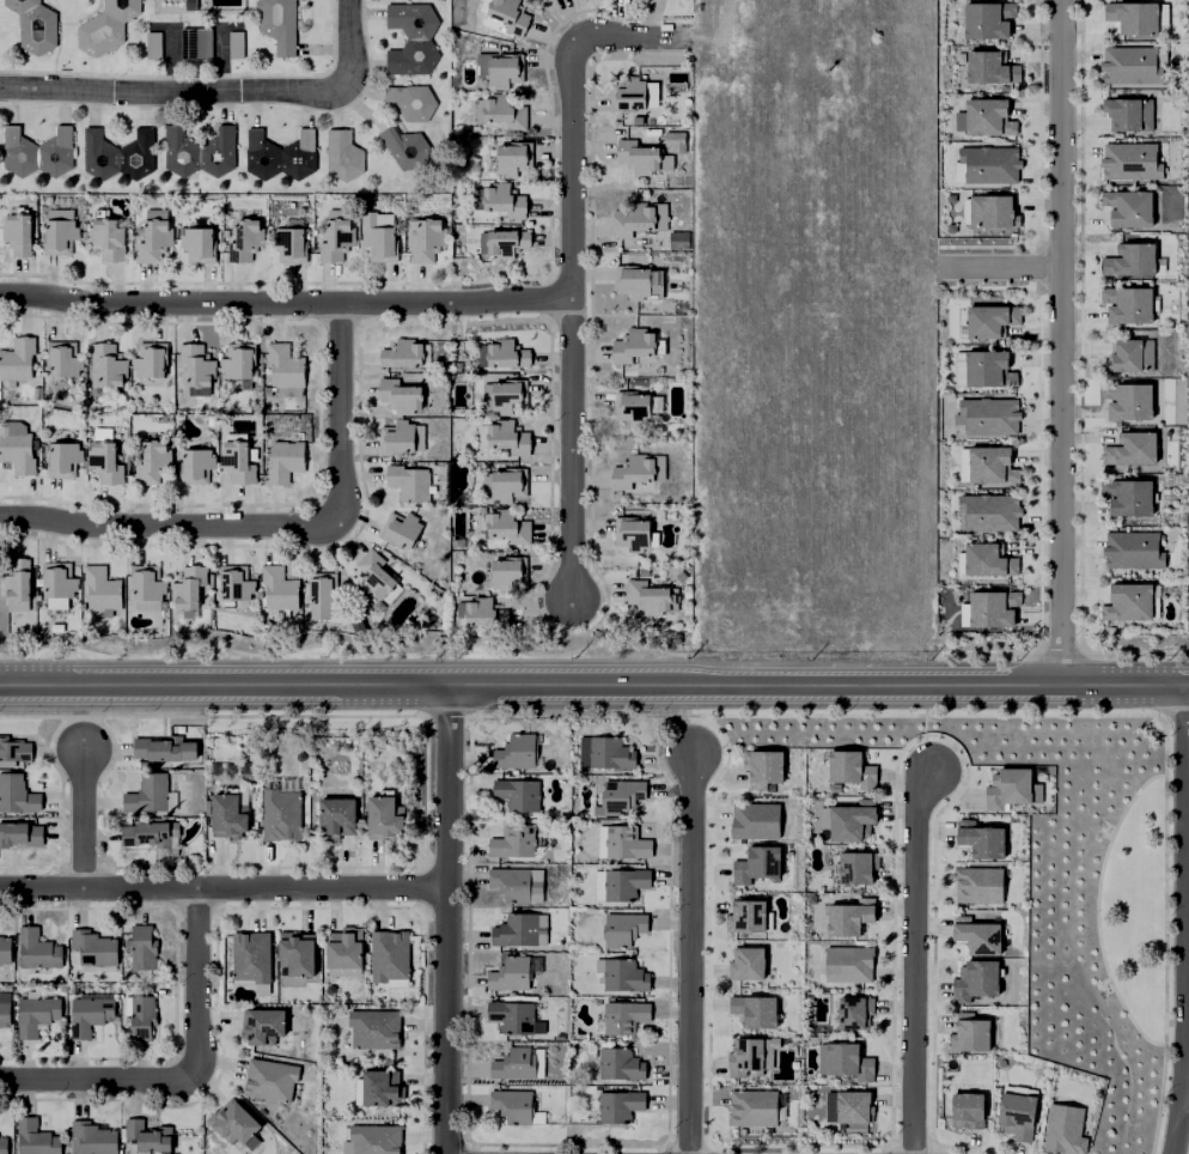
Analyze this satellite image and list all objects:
building: (539, 0)
building: (187, 5)
building: (508, 16)
building: (1133, 17)
building: (988, 19)
building: (275, 24)
building: (30, 25)
building: (102, 26)
building: (409, 37)
building: (191, 43)
building: (148, 44)
building: (232, 44)
building: (1159, 59)
building: (1129, 66)
building: (990, 68)
building: (498, 69)
building: (675, 86)
road: (219, 93)
building: (626, 96)
building: (409, 99)
building: (504, 113)
building: (1129, 115)
building: (988, 119)
building: (635, 120)
building: (648, 120)
building: (401, 147)
building: (196, 151)
building: (35, 152)
building: (115, 153)
building: (278, 153)
building: (341, 154)
building: (635, 157)
building: (1121, 157)
building: (512, 159)
building: (989, 164)
road: (1041, 172)
building: (502, 201)
building: (1128, 208)
building: (93, 213)
building: (992, 213)
building: (638, 219)
building: (16, 236)
building: (57, 237)
building: (105, 239)
building: (376, 239)
building: (244, 241)
building: (334, 241)
building: (422, 241)
building: (677, 241)
building: (152, 242)
building: (502, 243)
building: (196, 245)
building: (287, 245)
building: (1130, 261)
road: (571, 268)
road: (1000, 268)
building: (630, 283)
road: (285, 304)
building: (1127, 305)
building: (990, 321)
road: (1061, 340)
building: (630, 347)
building: (400, 354)
building: (500, 356)
building: (1129, 357)
building: (16, 359)
building: (62, 362)
building: (439, 363)
building: (147, 364)
building: (195, 365)
building: (104, 366)
building: (282, 366)
building: (236, 368)
building: (453, 368)
building: (958, 369)
building: (988, 370)
building: (196, 391)
building: (397, 396)
building: (506, 396)
building: (1127, 401)
building: (630, 407)
building: (989, 415)
building: (507, 438)
building: (402, 439)
building: (1132, 451)
building: (16, 453)
building: (61, 460)
building: (236, 462)
building: (283, 462)
building: (103, 463)
building: (151, 463)
building: (962, 466)
building: (194, 467)
building: (992, 467)
building: (629, 472)
building: (407, 484)
building: (506, 485)
building: (1127, 498)
building: (989, 512)
road: (279, 524)
building: (507, 528)
building: (401, 532)
building: (630, 534)
building: (1132, 551)
building: (988, 561)
building: (506, 575)
building: (372, 576)
building: (16, 582)
building: (56, 582)
building: (234, 585)
building: (187, 589)
building: (276, 589)
building: (99, 590)
building: (146, 590)
building: (648, 597)
building: (318, 600)
building: (1128, 603)
building: (55, 605)
building: (16, 607)
building: (992, 609)
building: (483, 613)
building: (353, 625)
building: (54, 628)
road: (594, 681)
road: (1176, 717)
building: (167, 748)
building: (14, 752)
building: (519, 752)
building: (609, 752)
building: (242, 769)
building: (763, 769)
building: (213, 770)
building: (849, 770)
building: (1007, 789)
building: (151, 792)
building: (522, 794)
building: (18, 795)
building: (624, 798)
building: (279, 814)
road: (84, 818)
building: (224, 818)
building: (334, 819)
building: (823, 819)
building: (379, 821)
building: (755, 821)
building: (852, 821)
building: (147, 834)
building: (22, 837)
building: (980, 840)
building: (516, 842)
building: (629, 843)
building: (756, 865)
building: (856, 868)
building: (520, 883)
building: (629, 885)
building: (978, 885)
road: (321, 889)
road: (97, 891)
road: (1096, 910)
park: (1134, 910)
road: (445, 917)
building: (745, 918)
building: (849, 918)
road: (1187, 918)
building: (628, 929)
building: (518, 931)
road: (1163, 935)
building: (978, 939)
building: (145, 947)
building: (96, 948)
building: (6, 950)
building: (37, 953)
road: (690, 954)
road: (913, 960)
building: (343, 962)
building: (385, 962)
building: (249, 965)
building: (746, 965)
building: (848, 965)
building: (295, 967)
building: (514, 973)
building: (624, 974)
building: (975, 982)
road: (196, 984)
building: (755, 1012)
building: (854, 1013)
building: (6, 1014)
building: (38, 1014)
building: (92, 1015)
building: (144, 1016)
building: (516, 1016)
building: (626, 1018)
building: (260, 1033)
building: (969, 1034)
building: (372, 1035)
building: (557, 1037)
building: (746, 1058)
building: (848, 1063)
building: (519, 1064)
building: (618, 1064)
road: (98, 1079)
building: (268, 1085)
road: (1185, 1093)
building: (376, 1097)
building: (518, 1106)
building: (621, 1107)
building: (752, 1109)
building: (853, 1109)
building: (967, 1112)
building: (1017, 1117)
building: (1063, 1130)
building: (231, 1132)
building: (151, 1136)
building: (37, 1138)
building: (94, 1138)
building: (344, 1141)
building: (373, 1143)
building: (4, 1144)

